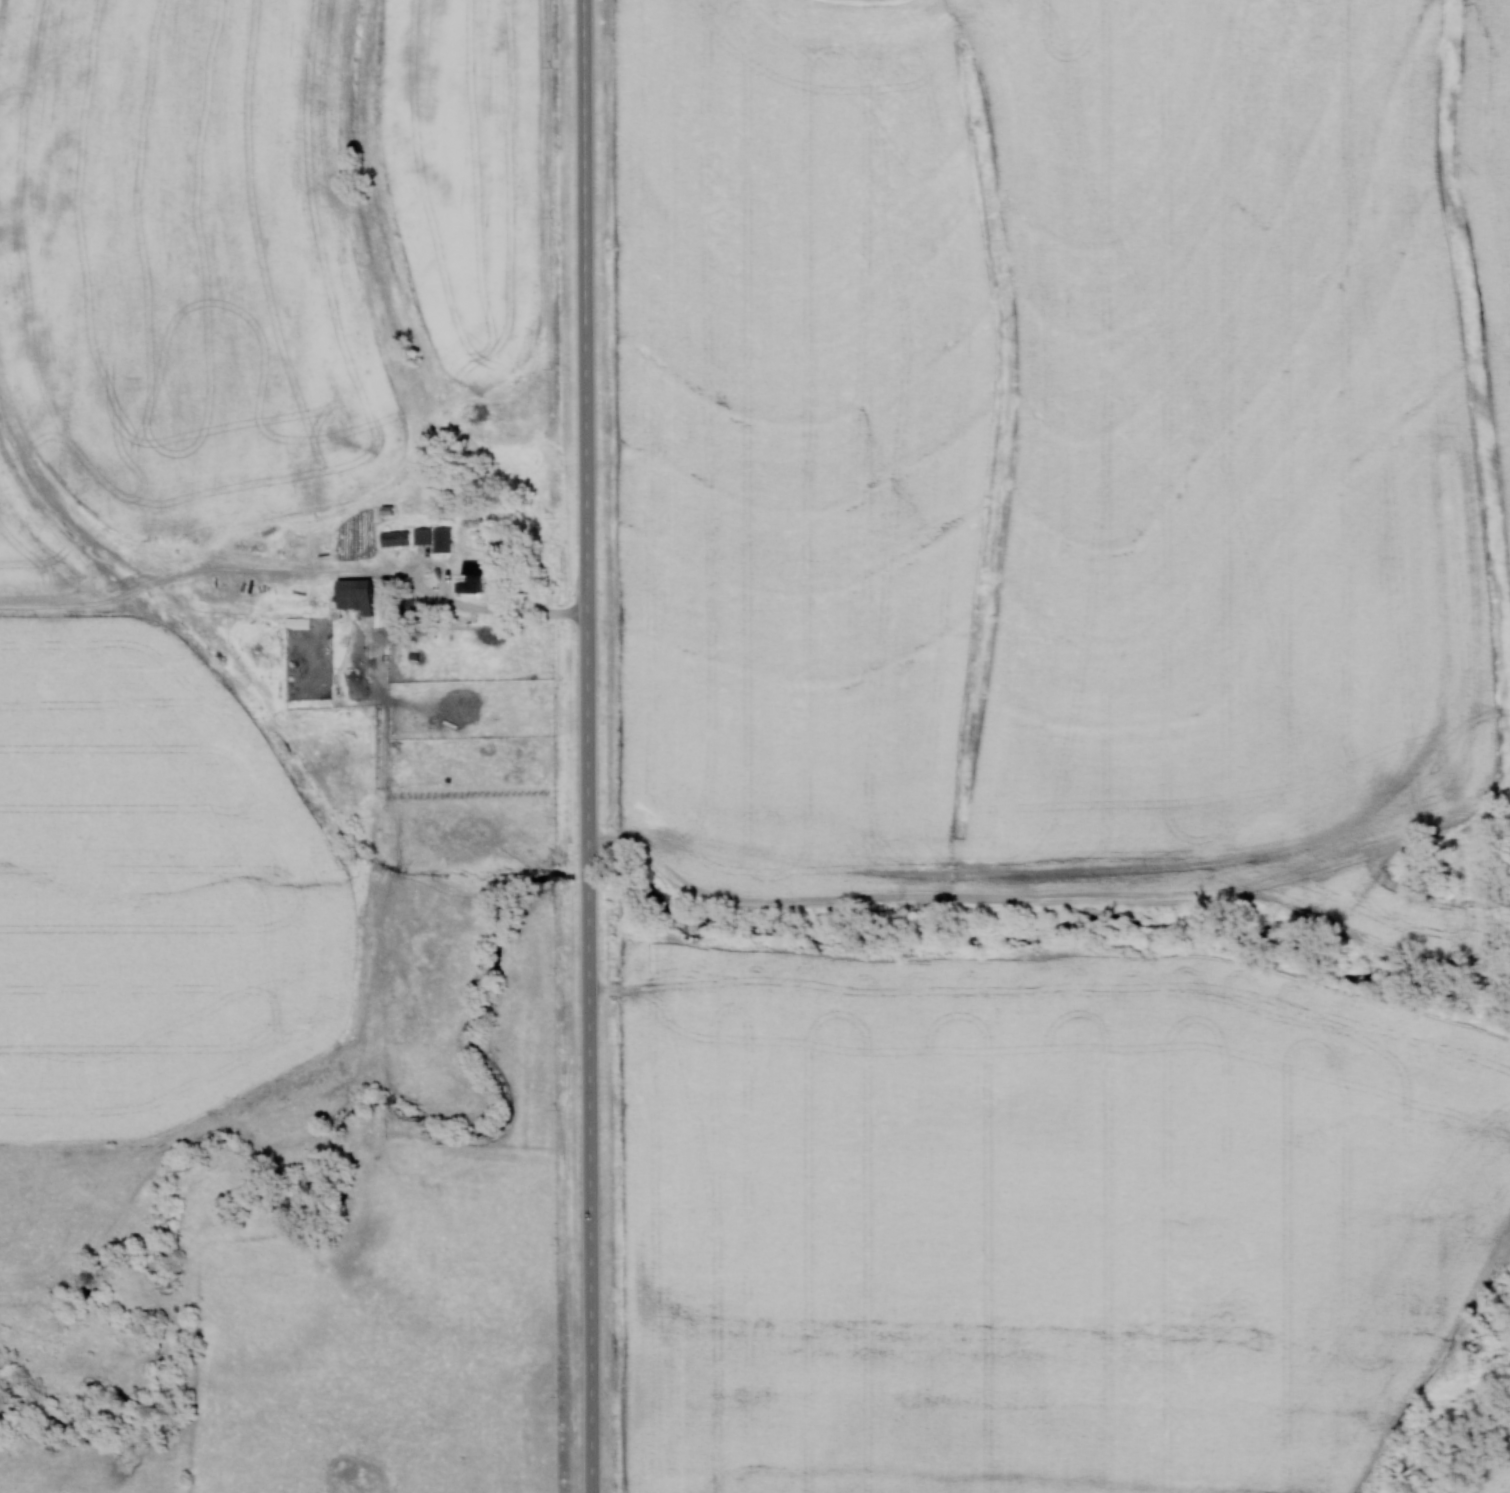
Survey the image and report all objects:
building: (421, 535)
building: (441, 539)
building: (470, 577)
building: (353, 595)
road: (459, 604)
road: (587, 746)

